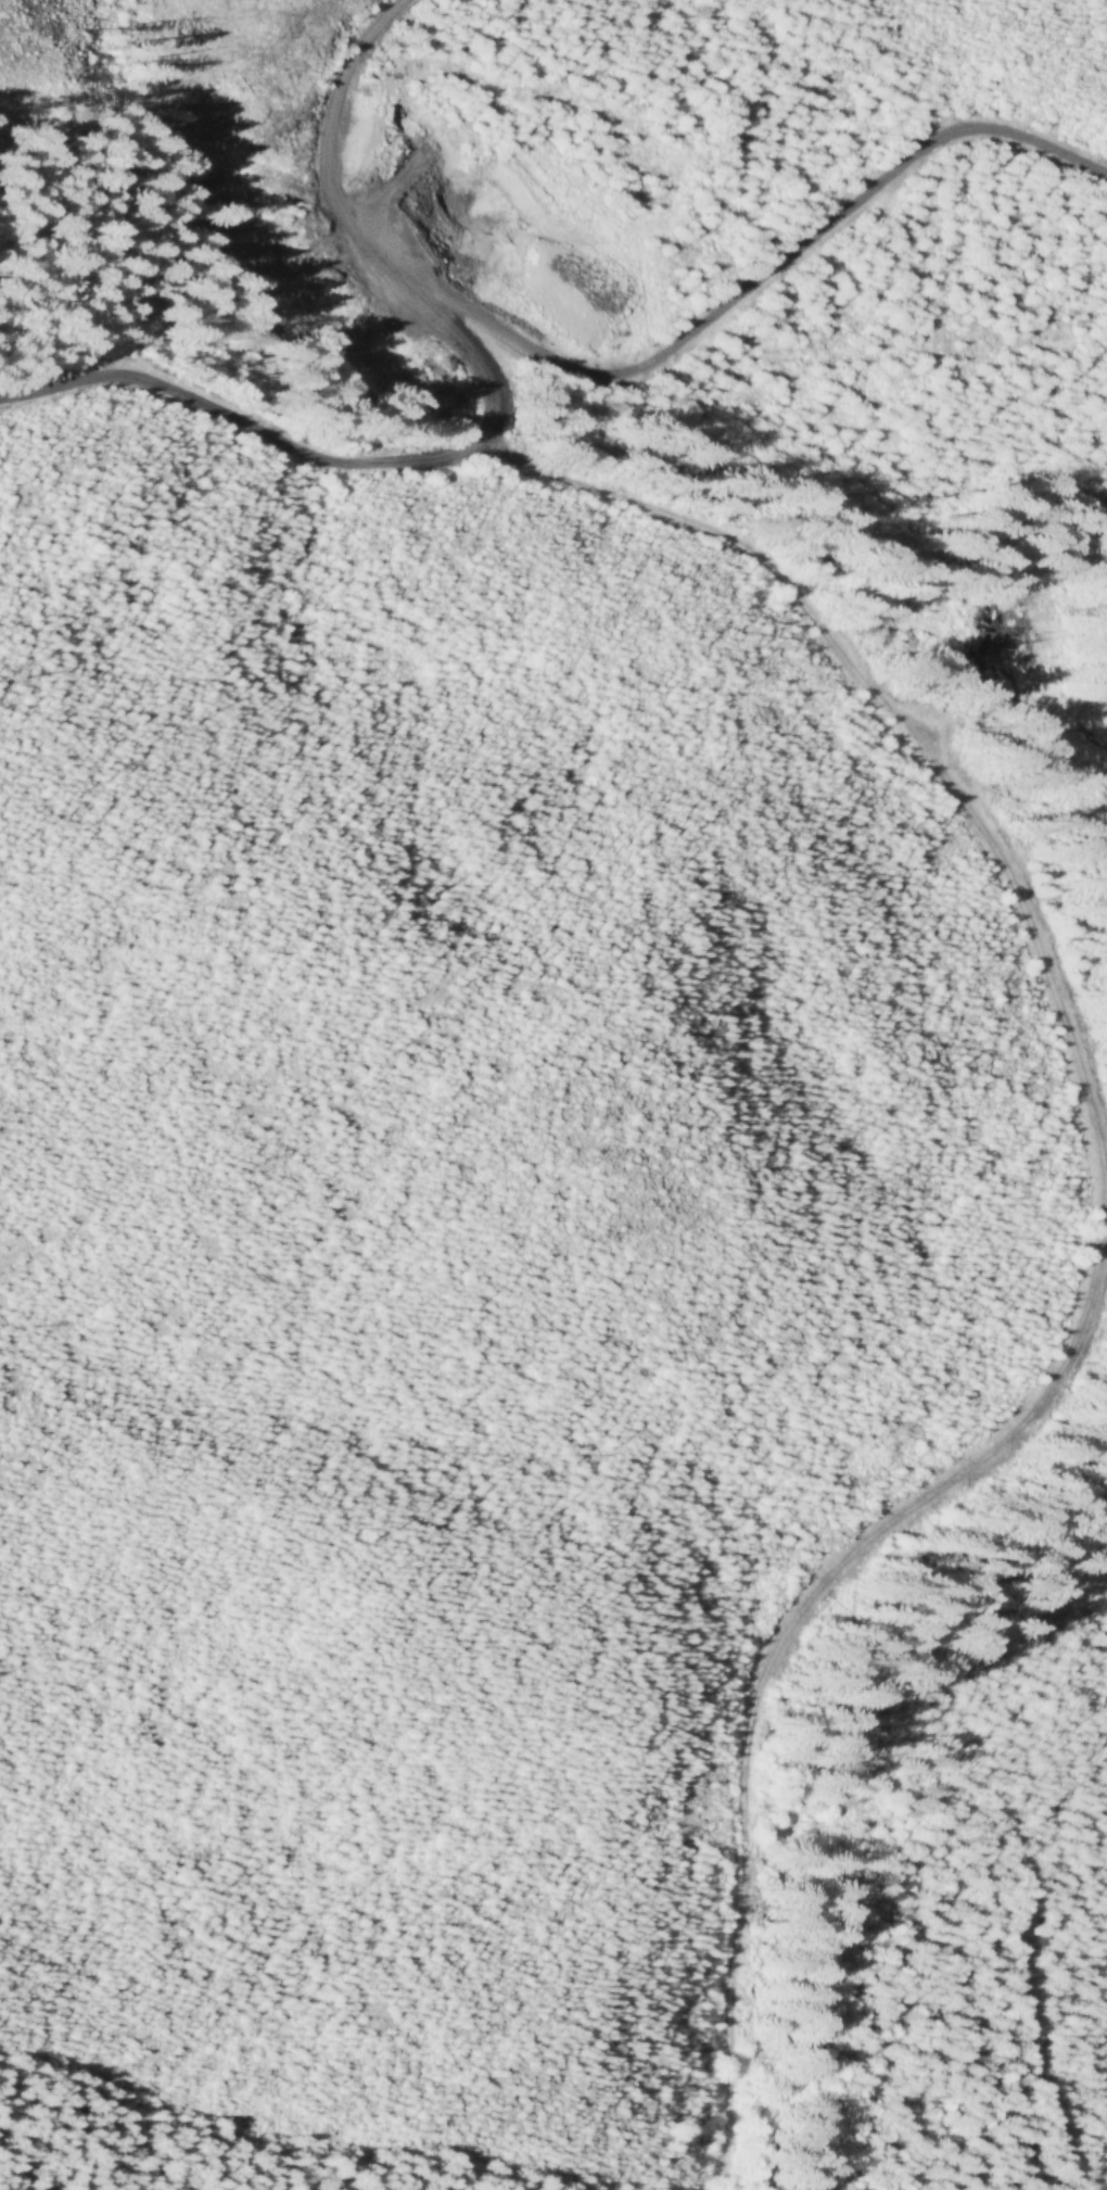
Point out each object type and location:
quarry: (486, 221)
road: (765, 264)
road: (478, 423)
road: (1096, 1224)
road: (1036, 2064)

